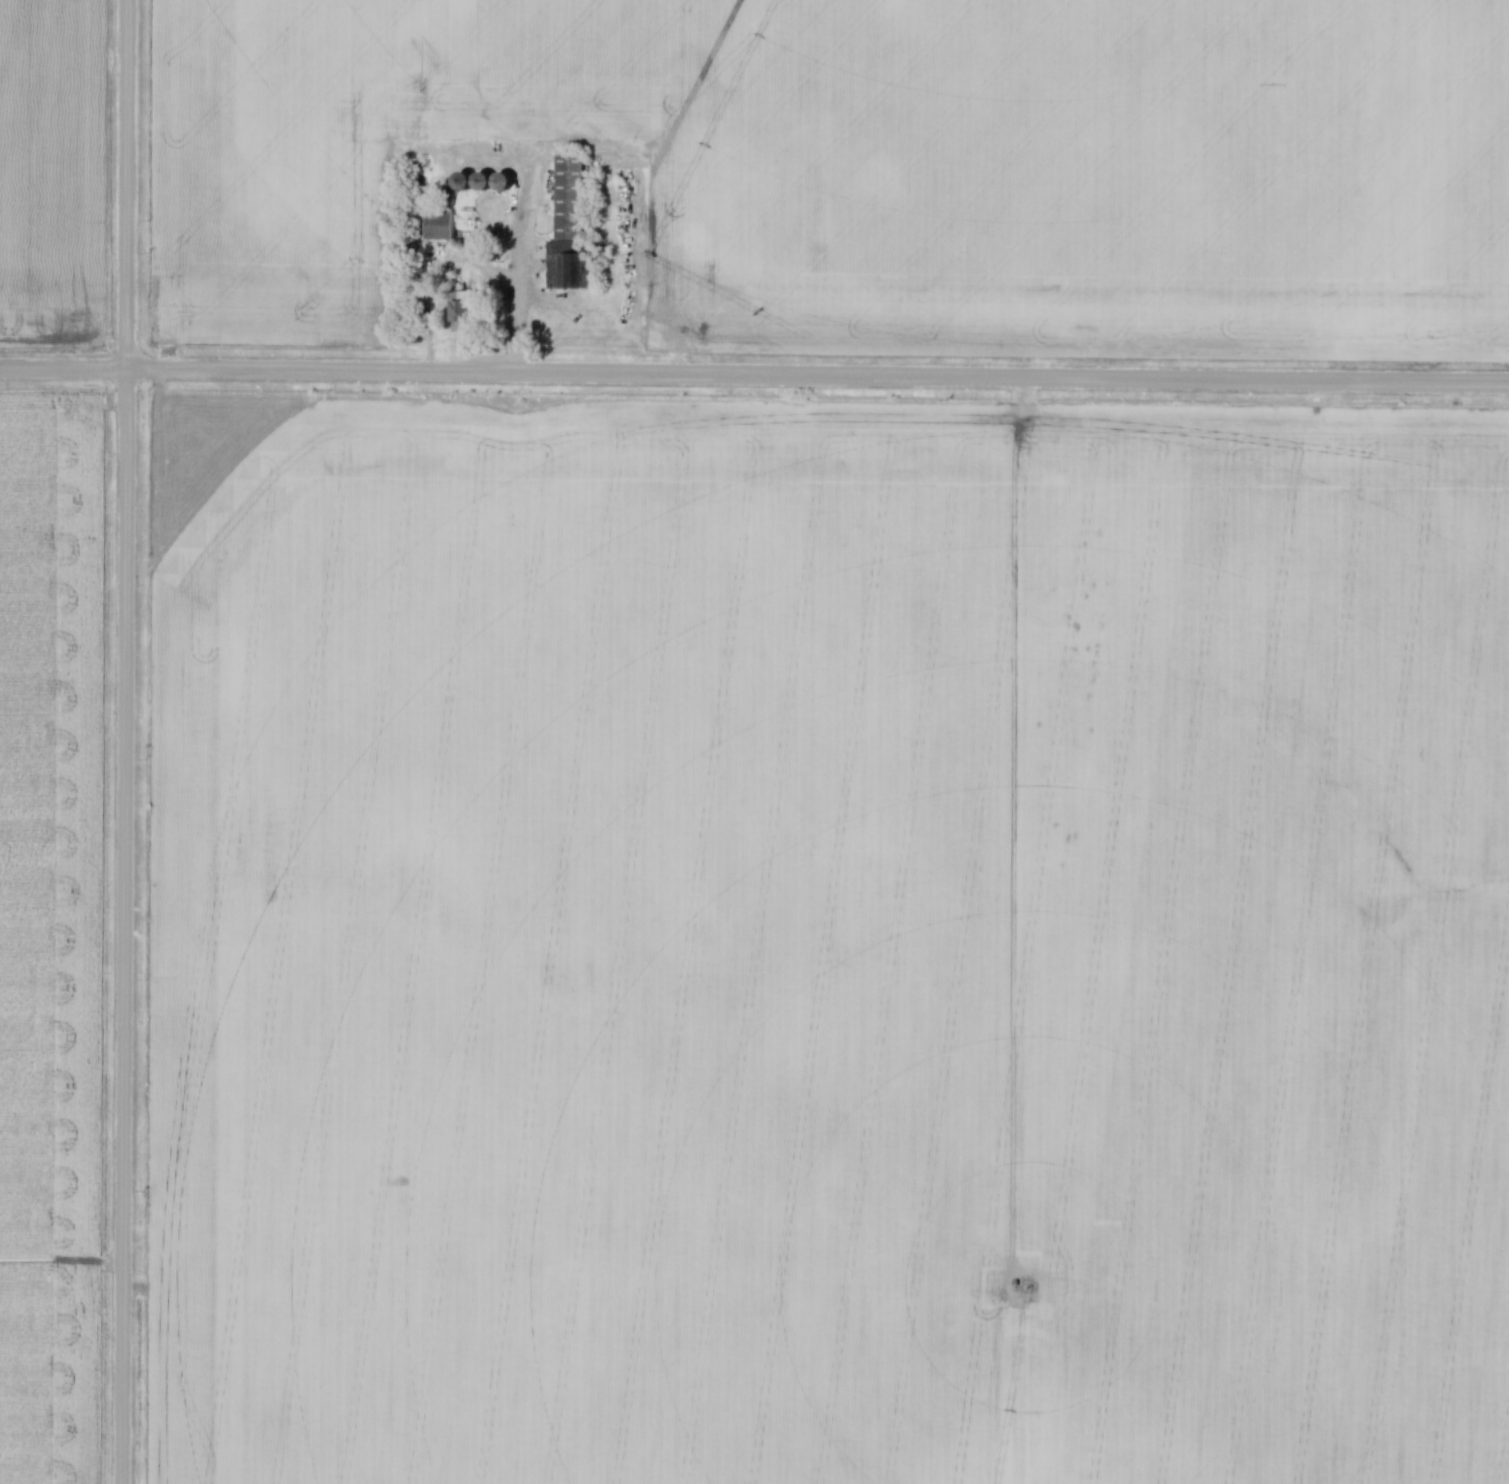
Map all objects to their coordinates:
building: (475, 181)
building: (509, 181)
road: (125, 187)
building: (547, 192)
building: (449, 197)
building: (545, 222)
building: (441, 225)
building: (573, 230)
road: (470, 268)
building: (468, 311)
road: (754, 379)
road: (122, 928)

